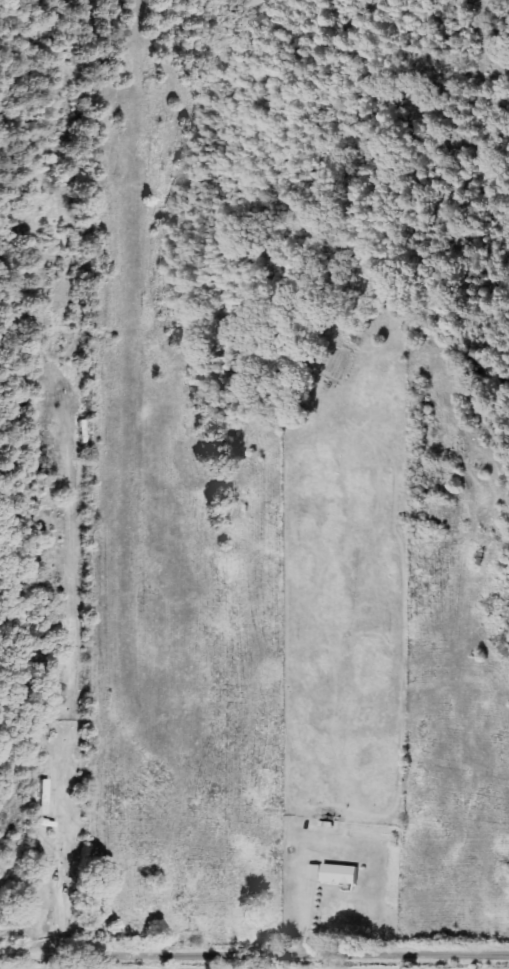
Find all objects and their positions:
building: (315, 873)
building: (341, 876)
road: (254, 955)

